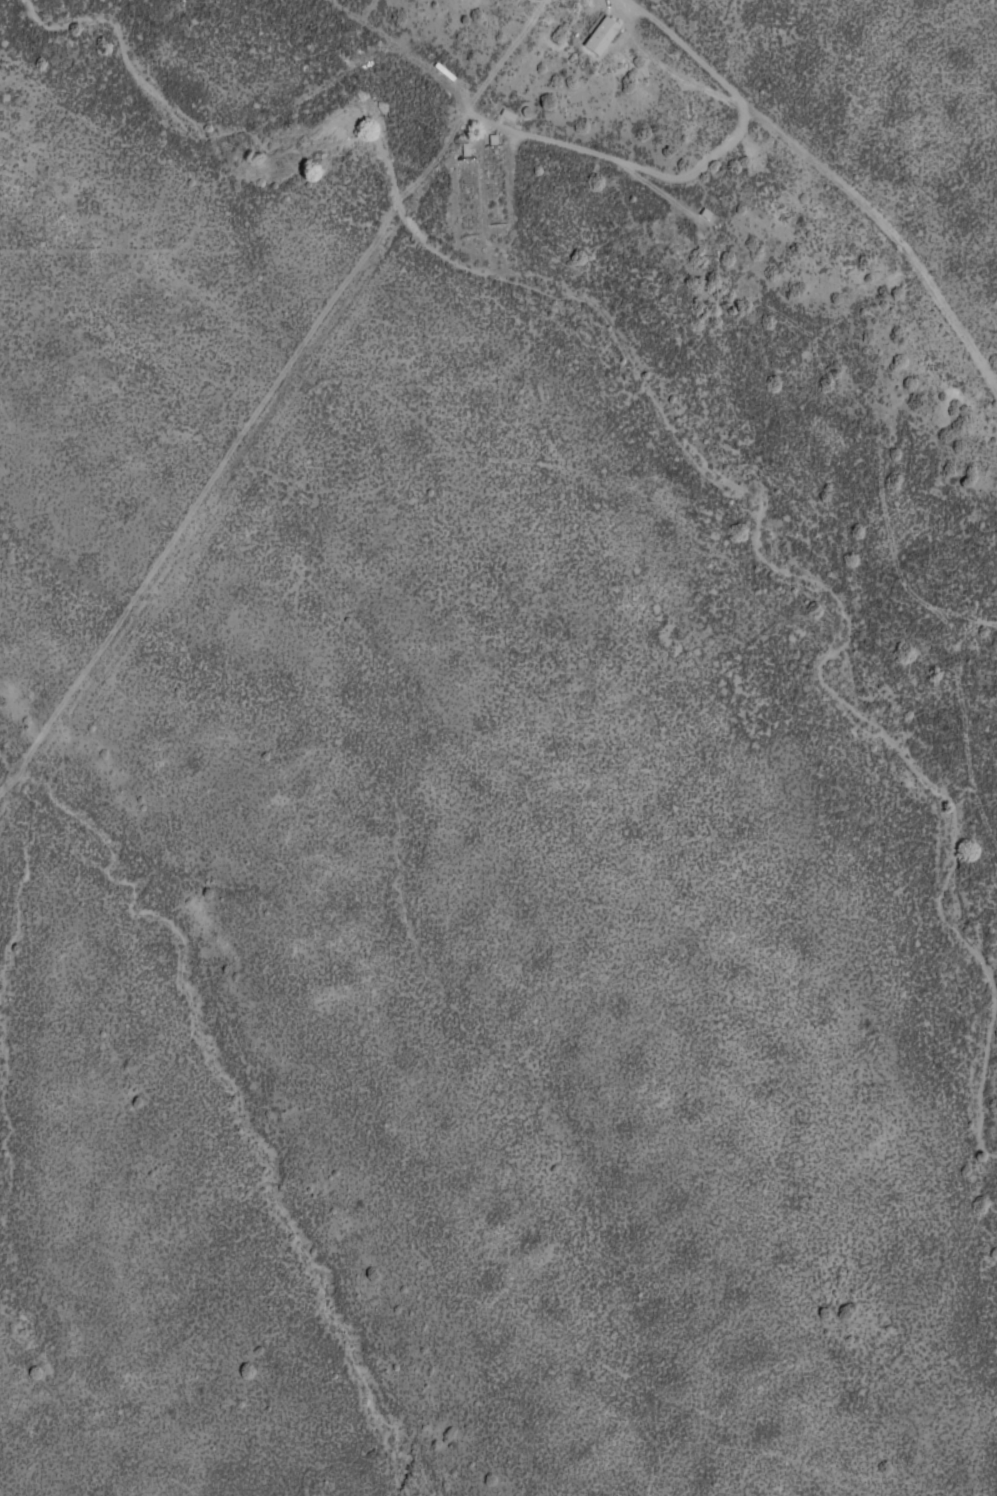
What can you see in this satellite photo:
building: (600, 34)
road: (712, 158)
road: (891, 229)

